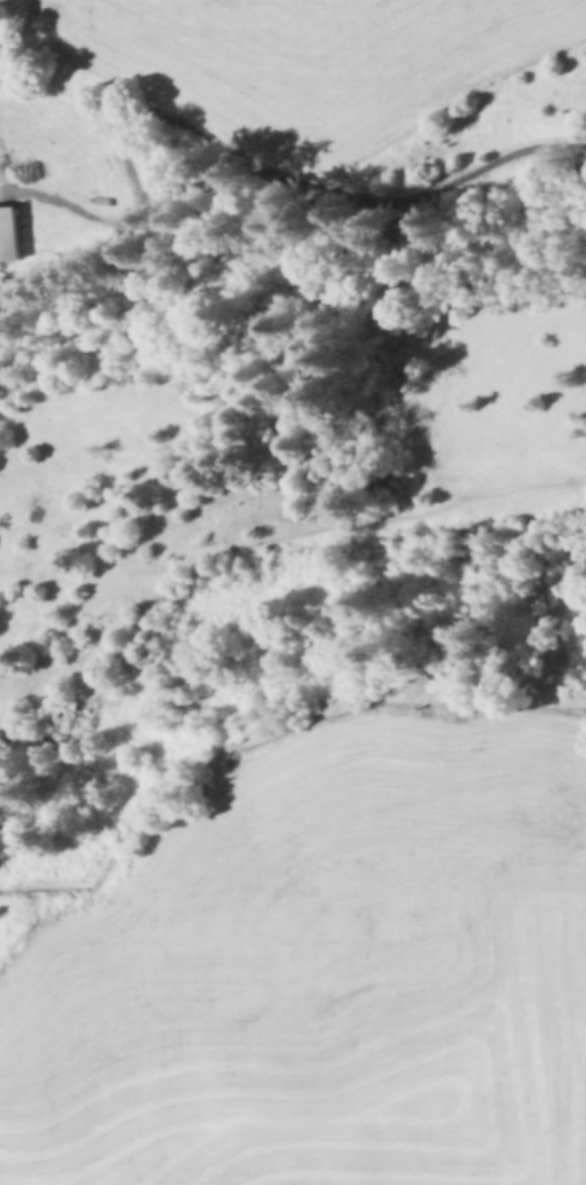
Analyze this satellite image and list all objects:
crop: (311, 59)
building: (13, 233)

